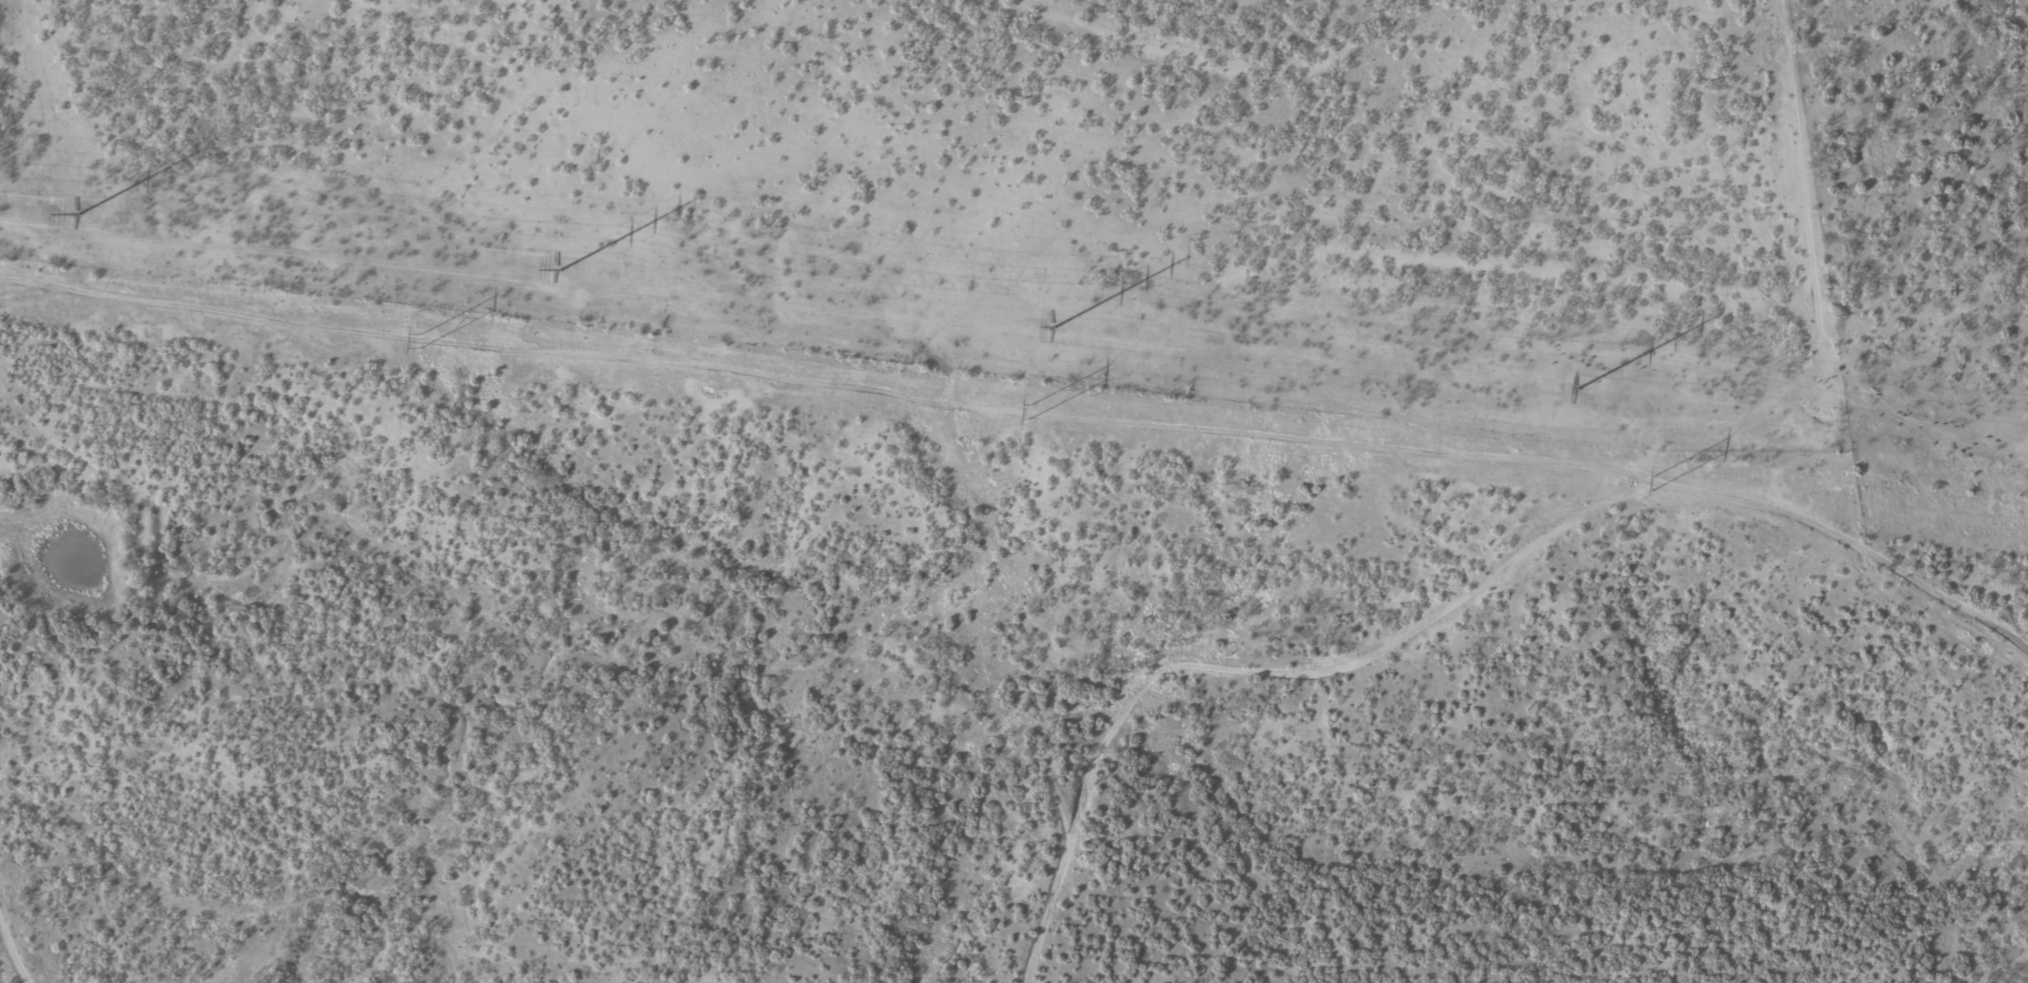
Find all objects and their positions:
power tower: (76, 215)
power tower: (558, 269)
power tower: (1052, 327)
power tower: (417, 341)
power tower: (1577, 388)
power tower: (1028, 412)
power tower: (1651, 487)
road: (1300, 636)
road: (30, 940)

